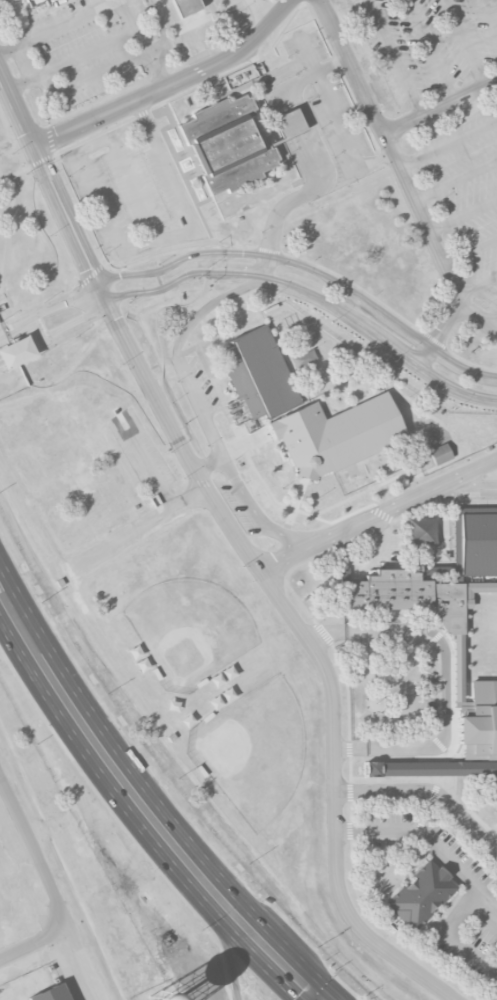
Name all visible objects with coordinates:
building: (172, 0)
building: (34, 2)
building: (55, 2)
building: (188, 9)
road: (490, 13)
road: (127, 14)
road: (15, 21)
road: (163, 31)
road: (464, 43)
parking lot: (429, 44)
parking lot: (87, 49)
road: (429, 50)
road: (8, 51)
road: (394, 58)
road: (72, 60)
road: (157, 70)
road: (172, 84)
road: (440, 106)
parking lot: (316, 115)
road: (337, 118)
building: (289, 124)
building: (227, 144)
road: (447, 144)
road: (312, 157)
road: (402, 177)
road: (454, 180)
road: (54, 186)
road: (135, 187)
parking lot: (135, 190)
parking lot: (463, 196)
road: (461, 216)
road: (11, 217)
road: (142, 243)
road: (468, 250)
road: (310, 268)
road: (478, 283)
road: (312, 294)
road: (10, 304)
road: (49, 310)
road: (473, 312)
road: (492, 319)
road: (492, 325)
road: (55, 333)
building: (17, 353)
building: (260, 374)
parking lot: (205, 384)
road: (194, 393)
building: (337, 435)
road: (177, 440)
parking lot: (141, 451)
building: (441, 454)
road: (147, 464)
road: (209, 464)
road: (471, 488)
parking lot: (236, 506)
road: (378, 514)
road: (137, 531)
building: (436, 573)
building: (344, 576)
park: (188, 628)
road: (444, 676)
building: (480, 721)
park: (251, 748)
road: (100, 750)
building: (437, 770)
road: (429, 791)
road: (338, 798)
road: (33, 854)
road: (462, 873)
building: (421, 895)
road: (487, 895)
parking lot: (471, 918)
road: (33, 942)
road: (228, 950)
road: (269, 951)
road: (82, 963)
building: (52, 993)
road: (320, 999)
traffic signals: (321, 999)

